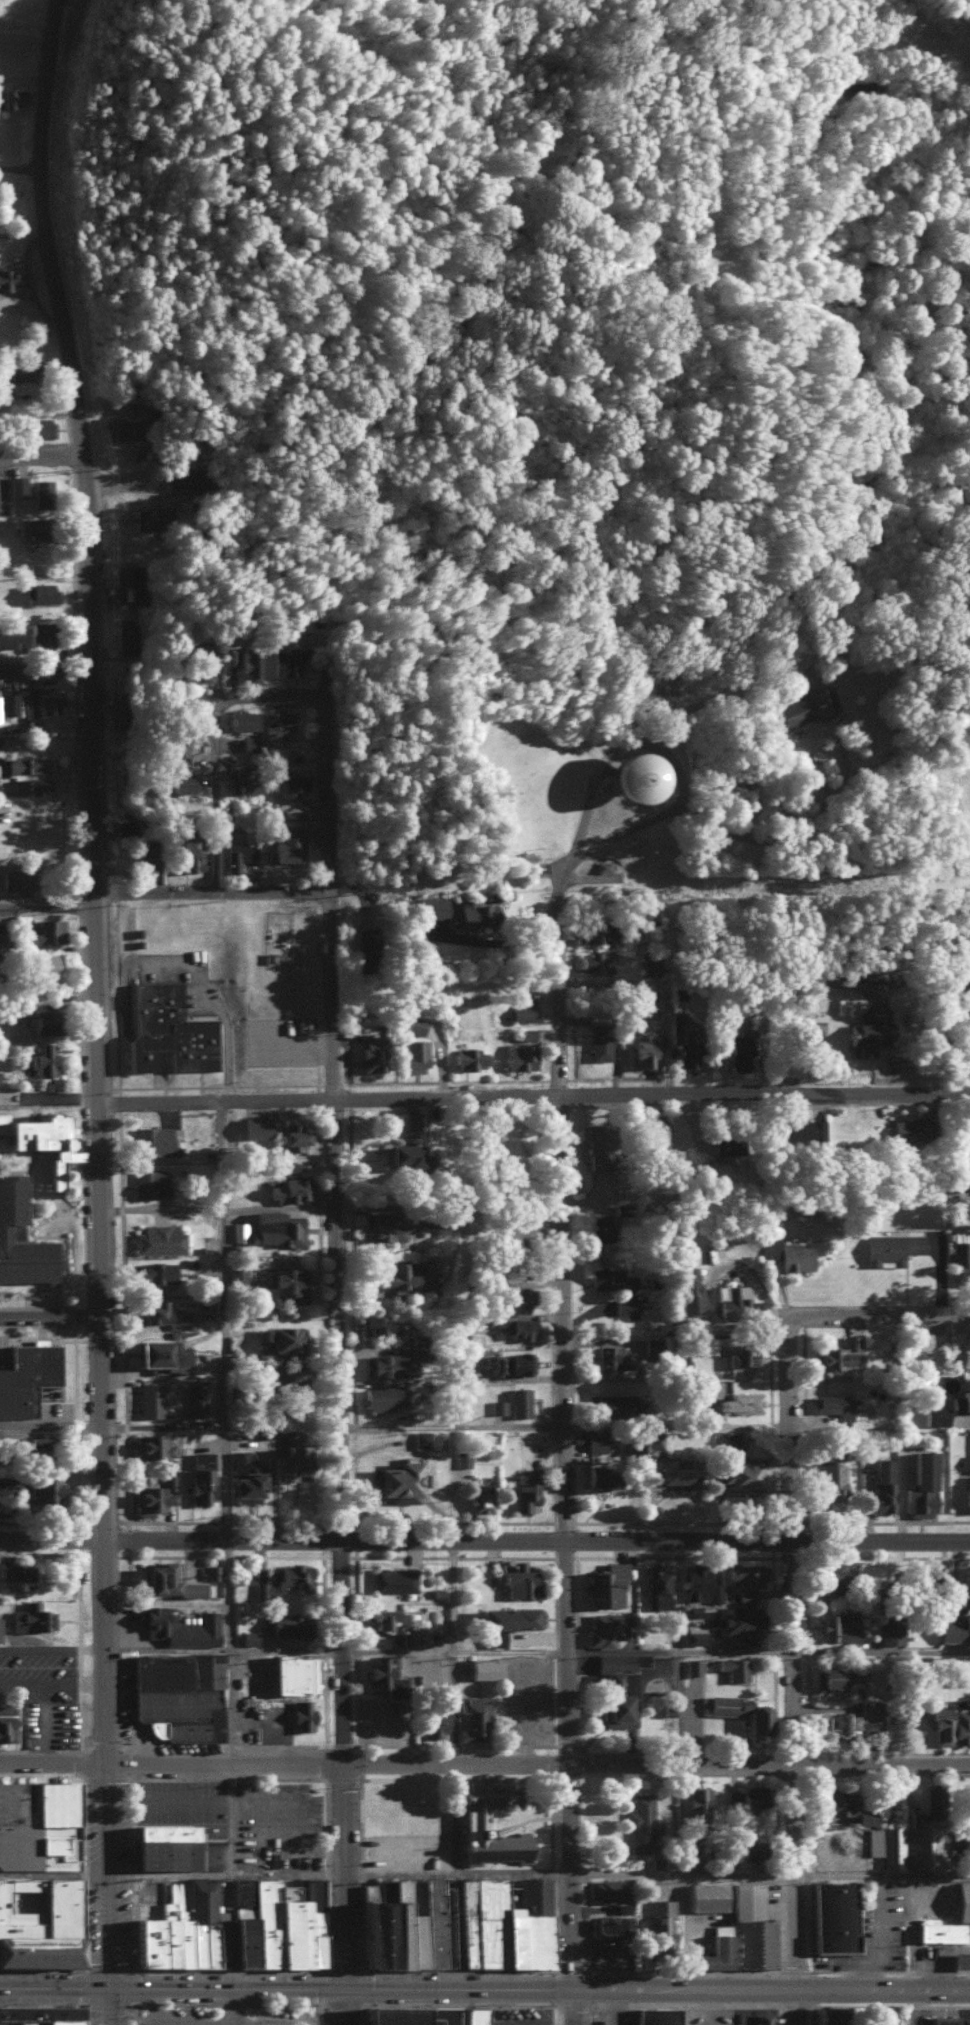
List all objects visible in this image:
building: (10, 97)
road: (18, 166)
building: (8, 278)
building: (11, 372)
building: (38, 427)
building: (124, 428)
road: (45, 461)
building: (183, 479)
building: (16, 486)
building: (40, 493)
building: (152, 517)
building: (28, 526)
building: (131, 577)
building: (38, 592)
building: (130, 592)
building: (38, 634)
building: (130, 634)
building: (230, 656)
building: (285, 658)
building: (249, 663)
building: (201, 667)
road: (48, 678)
road: (323, 680)
building: (8, 703)
building: (40, 705)
building: (799, 708)
building: (117, 719)
building: (241, 719)
building: (275, 725)
road: (213, 742)
building: (248, 743)
building: (175, 744)
building: (26, 764)
road: (98, 766)
water tower: (632, 774)
building: (625, 777)
building: (241, 779)
building: (178, 783)
building: (29, 784)
building: (290, 784)
building: (125, 827)
road: (785, 836)
building: (286, 844)
building: (235, 854)
building: (148, 855)
building: (191, 856)
building: (601, 865)
building: (15, 880)
road: (214, 892)
building: (431, 907)
road: (50, 912)
building: (469, 913)
road: (966, 924)
building: (46, 930)
building: (590, 932)
building: (366, 949)
building: (595, 962)
building: (650, 964)
building: (39, 965)
road: (190, 974)
building: (963, 993)
building: (521, 1010)
building: (39, 1022)
road: (563, 1022)
building: (416, 1023)
building: (867, 1028)
building: (166, 1030)
building: (526, 1032)
building: (599, 1040)
building: (684, 1040)
building: (645, 1048)
building: (738, 1048)
building: (372, 1053)
building: (412, 1053)
building: (518, 1054)
building: (467, 1057)
building: (40, 1060)
road: (502, 1097)
building: (411, 1119)
building: (254, 1125)
building: (653, 1127)
building: (798, 1128)
building: (909, 1128)
building: (36, 1135)
building: (291, 1135)
building: (153, 1139)
building: (961, 1139)
building: (722, 1142)
building: (595, 1144)
building: (397, 1152)
building: (424, 1159)
building: (286, 1165)
building: (147, 1180)
building: (958, 1183)
building: (289, 1188)
building: (430, 1219)
building: (382, 1225)
building: (597, 1226)
building: (275, 1227)
road: (340, 1228)
building: (238, 1229)
building: (19, 1237)
building: (158, 1238)
building: (771, 1247)
building: (890, 1247)
building: (796, 1255)
building: (961, 1255)
building: (429, 1263)
building: (155, 1269)
building: (237, 1274)
building: (397, 1276)
building: (282, 1284)
building: (615, 1287)
building: (689, 1290)
building: (735, 1297)
building: (517, 1298)
building: (160, 1313)
road: (51, 1315)
road: (884, 1316)
building: (374, 1324)
building: (516, 1326)
building: (283, 1336)
building: (919, 1339)
building: (651, 1341)
building: (707, 1345)
building: (960, 1349)
building: (160, 1352)
building: (835, 1352)
building: (741, 1354)
building: (610, 1355)
building: (513, 1361)
building: (463, 1363)
building: (384, 1364)
building: (281, 1373)
building: (26, 1374)
building: (707, 1387)
building: (382, 1395)
building: (149, 1398)
building: (195, 1398)
building: (961, 1400)
building: (511, 1401)
building: (740, 1401)
building: (615, 1403)
building: (832, 1404)
building: (935, 1415)
road: (686, 1424)
road: (52, 1426)
road: (163, 1427)
road: (456, 1427)
building: (419, 1437)
building: (652, 1438)
building: (729, 1439)
building: (595, 1442)
building: (27, 1444)
building: (151, 1445)
building: (288, 1456)
building: (461, 1457)
building: (968, 1462)
building: (678, 1471)
building: (738, 1473)
building: (200, 1474)
building: (600, 1476)
building: (244, 1477)
building: (168, 1480)
building: (398, 1480)
building: (830, 1480)
building: (881, 1484)
building: (920, 1484)
building: (44, 1488)
building: (525, 1488)
building: (967, 1491)
building: (479, 1496)
building: (3, 1498)
building: (150, 1498)
road: (353, 1520)
road: (50, 1540)
road: (338, 1541)
road: (773, 1542)
road: (227, 1547)
road: (126, 1552)
road: (152, 1555)
road: (227, 1555)
road: (276, 1555)
road: (411, 1556)
road: (432, 1556)
road: (450, 1556)
road: (548, 1556)
building: (174, 1570)
building: (930, 1573)
building: (15, 1574)
building: (289, 1574)
building: (745, 1574)
building: (831, 1575)
building: (157, 1576)
road: (354, 1576)
building: (392, 1578)
building: (966, 1580)
building: (520, 1581)
building: (695, 1581)
building: (606, 1582)
building: (657, 1586)
building: (190, 1588)
building: (262, 1588)
building: (714, 1592)
building: (745, 1594)
road: (321, 1599)
building: (508, 1616)
building: (629, 1616)
building: (30, 1617)
building: (386, 1618)
building: (737, 1619)
road: (78, 1623)
building: (284, 1623)
building: (179, 1626)
building: (835, 1626)
building: (954, 1627)
building: (603, 1628)
building: (889, 1628)
building: (693, 1634)
building: (247, 1636)
building: (493, 1636)
building: (413, 1639)
road: (323, 1649)
road: (355, 1650)
road: (554, 1650)
road: (103, 1651)
road: (773, 1652)
road: (691, 1653)
building: (692, 1666)
building: (733, 1666)
building: (482, 1667)
building: (286, 1672)
road: (802, 1672)
building: (961, 1672)
building: (384, 1675)
building: (834, 1676)
building: (177, 1694)
building: (615, 1697)
road: (356, 1699)
building: (5, 1706)
building: (740, 1710)
road: (555, 1712)
building: (301, 1714)
building: (471, 1716)
building: (854, 1718)
building: (433, 1721)
building: (941, 1725)
building: (961, 1725)
building: (5, 1726)
road: (80, 1744)
road: (321, 1744)
road: (403, 1744)
road: (454, 1744)
road: (488, 1744)
road: (524, 1744)
road: (12, 1749)
road: (39, 1749)
road: (52, 1763)
road: (398, 1765)
road: (831, 1765)
road: (174, 1777)
road: (80, 1778)
road: (228, 1778)
road: (323, 1778)
road: (358, 1778)
road: (359, 1778)
road: (454, 1778)
road: (507, 1778)
road: (456, 1782)
road: (579, 1783)
building: (968, 1799)
building: (696, 1800)
building: (740, 1800)
building: (833, 1800)
building: (864, 1815)
building: (35, 1821)
road: (549, 1821)
building: (640, 1822)
building: (485, 1826)
building: (925, 1832)
building: (964, 1837)
building: (163, 1845)
building: (886, 1845)
building: (840, 1846)
road: (130, 1871)
road: (550, 1871)
road: (82, 1873)
road: (326, 1873)
road: (359, 1873)
road: (518, 1873)
road: (887, 1874)
road: (107, 1876)
road: (692, 1876)
road: (343, 1877)
building: (608, 1889)
building: (285, 1890)
building: (532, 1894)
building: (705, 1895)
building: (962, 1900)
building: (622, 1907)
building: (833, 1915)
building: (37, 1921)
building: (611, 1922)
building: (275, 1923)
building: (401, 1923)
road: (360, 1924)
building: (659, 1924)
building: (751, 1925)
building: (180, 1928)
building: (496, 1928)
building: (940, 1929)
building: (713, 1949)
building: (959, 1959)
road: (83, 1966)
road: (85, 1967)
road: (405, 1968)
road: (275, 1969)
road: (455, 1969)
road: (552, 1969)
road: (361, 1970)
road: (511, 1987)
road: (622, 1988)
road: (816, 1988)
road: (54, 1989)
traffic signals: (109, 1989)
road: (169, 1989)
road: (250, 1990)
road: (307, 1990)
road: (393, 1990)
road: (42, 2004)
road: (519, 2004)
road: (231, 2005)
road: (406, 2005)
road: (456, 2005)
road: (590, 2005)
road: (913, 2006)
road: (109, 2007)
road: (344, 2007)
road: (128, 2008)
road: (133, 2009)
road: (319, 2011)
building: (40, 2014)
building: (404, 2014)
road: (84, 2015)
road: (316, 2015)
road: (362, 2015)
building: (469, 2015)
building: (824, 2015)
building: (655, 2016)
building: (760, 2019)
building: (882, 2019)
building: (940, 2019)
road: (143, 2020)
building: (963, 2020)
road: (222, 2021)
road: (310, 2021)

